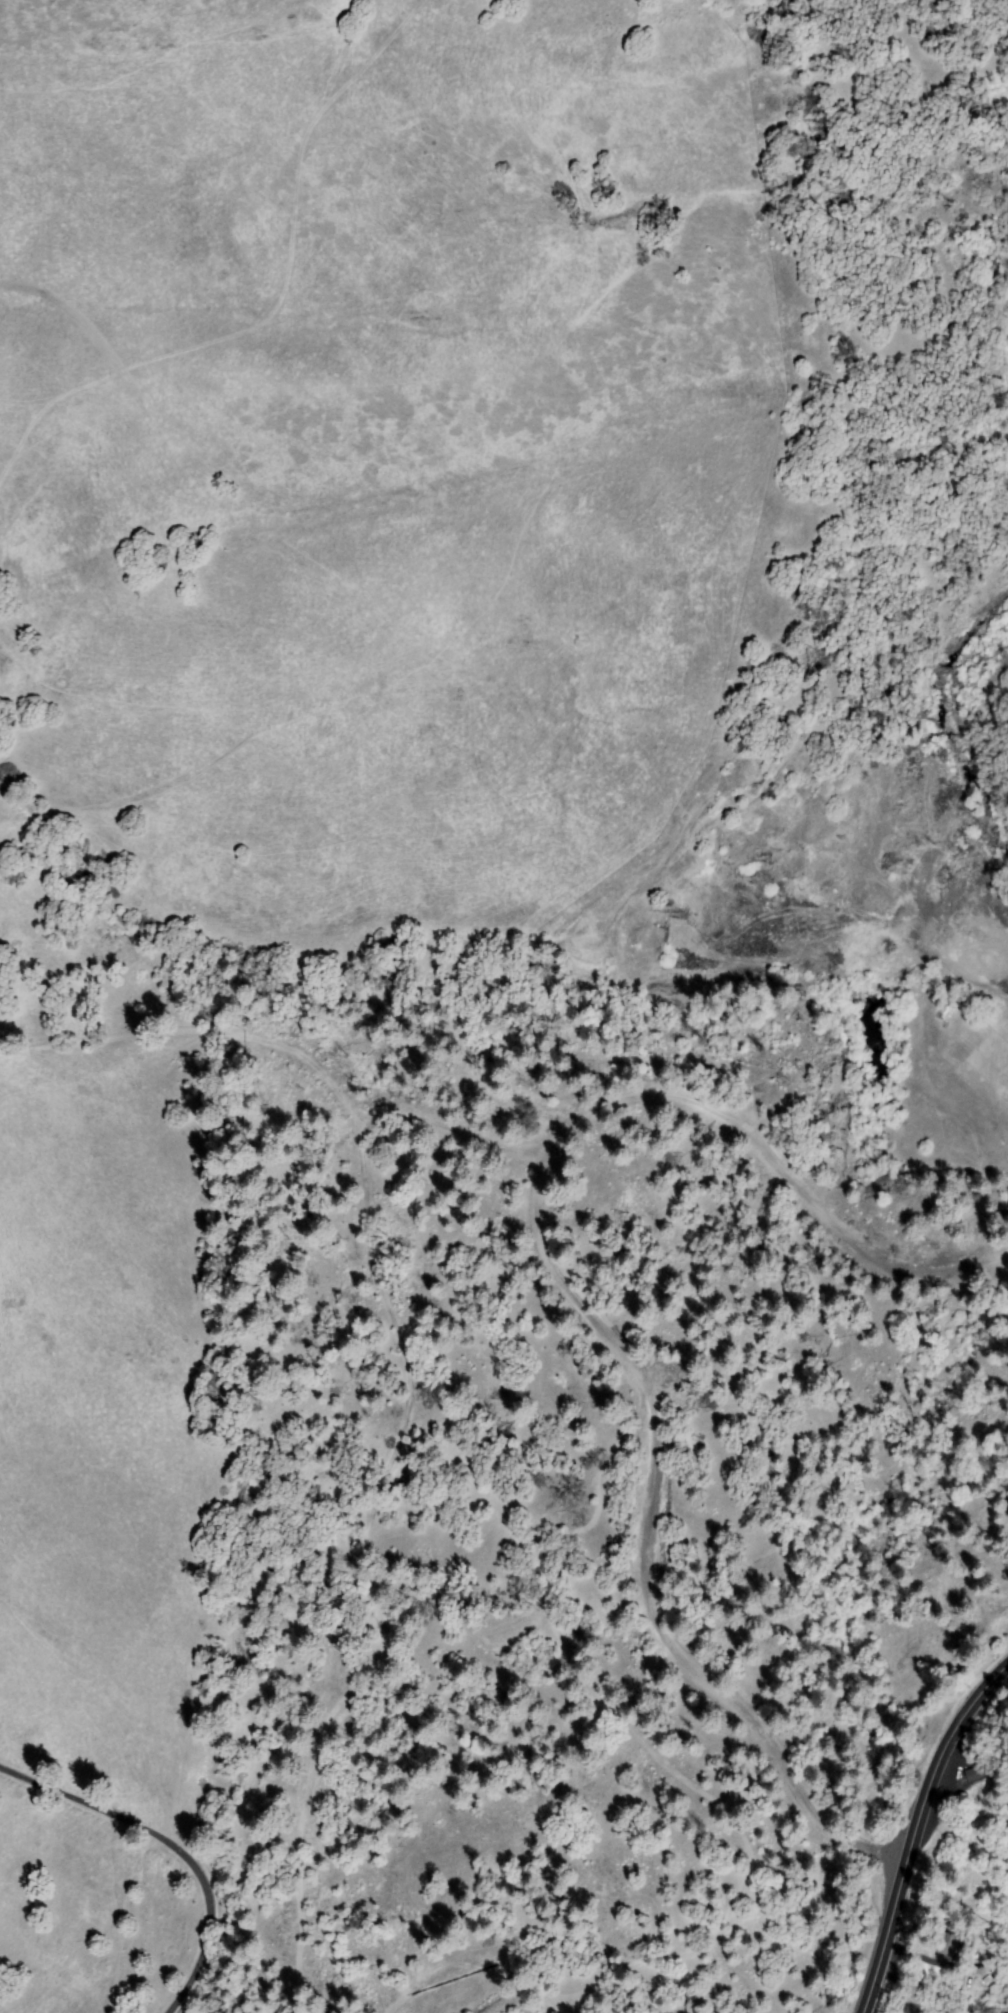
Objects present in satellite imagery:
road: (455, 1122)
road: (389, 1306)
road: (584, 1307)
building: (977, 1773)
road: (912, 1828)
road: (175, 1843)
building: (953, 1946)

